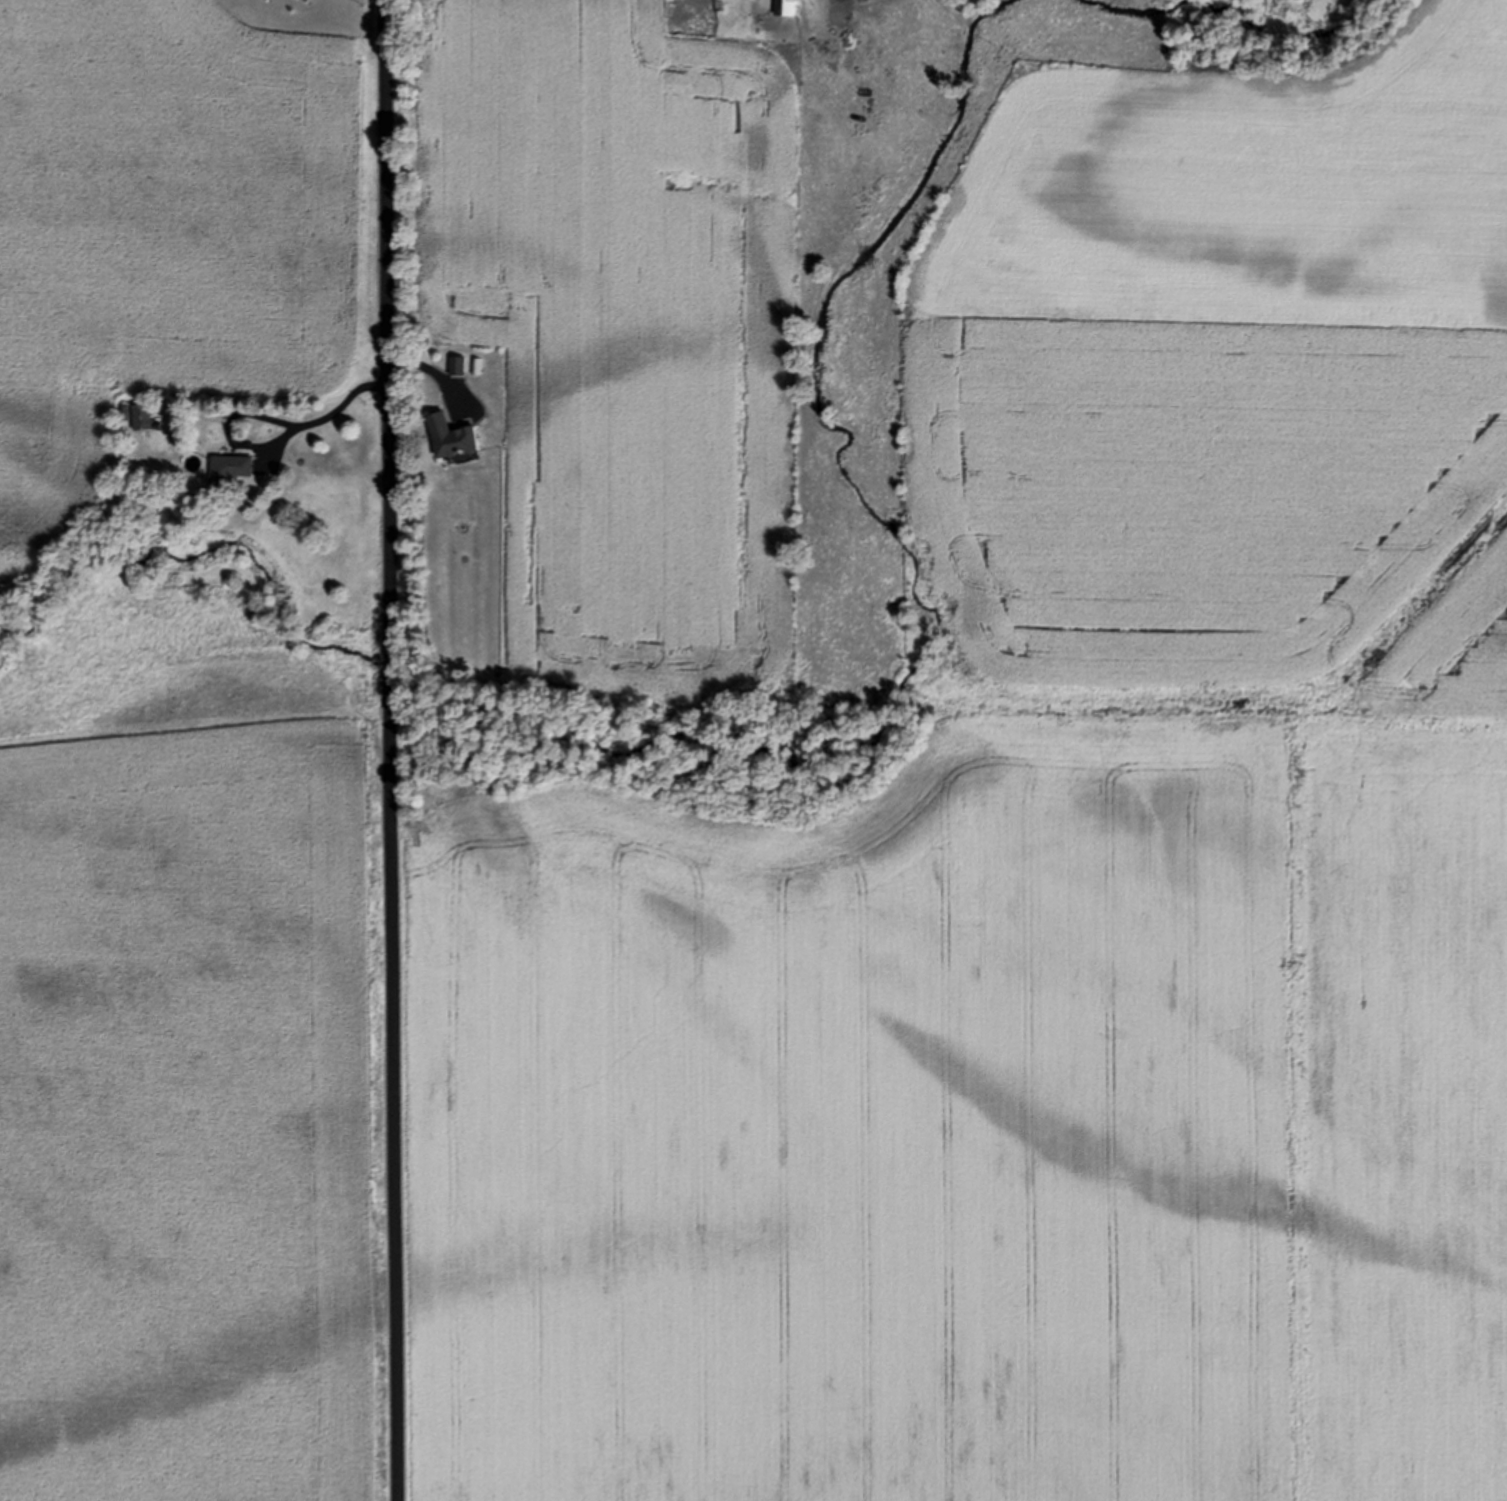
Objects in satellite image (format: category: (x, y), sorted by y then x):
building: (786, 7)
building: (459, 365)
road: (436, 372)
building: (146, 416)
building: (454, 437)
road: (271, 443)
building: (232, 469)
road: (386, 750)

